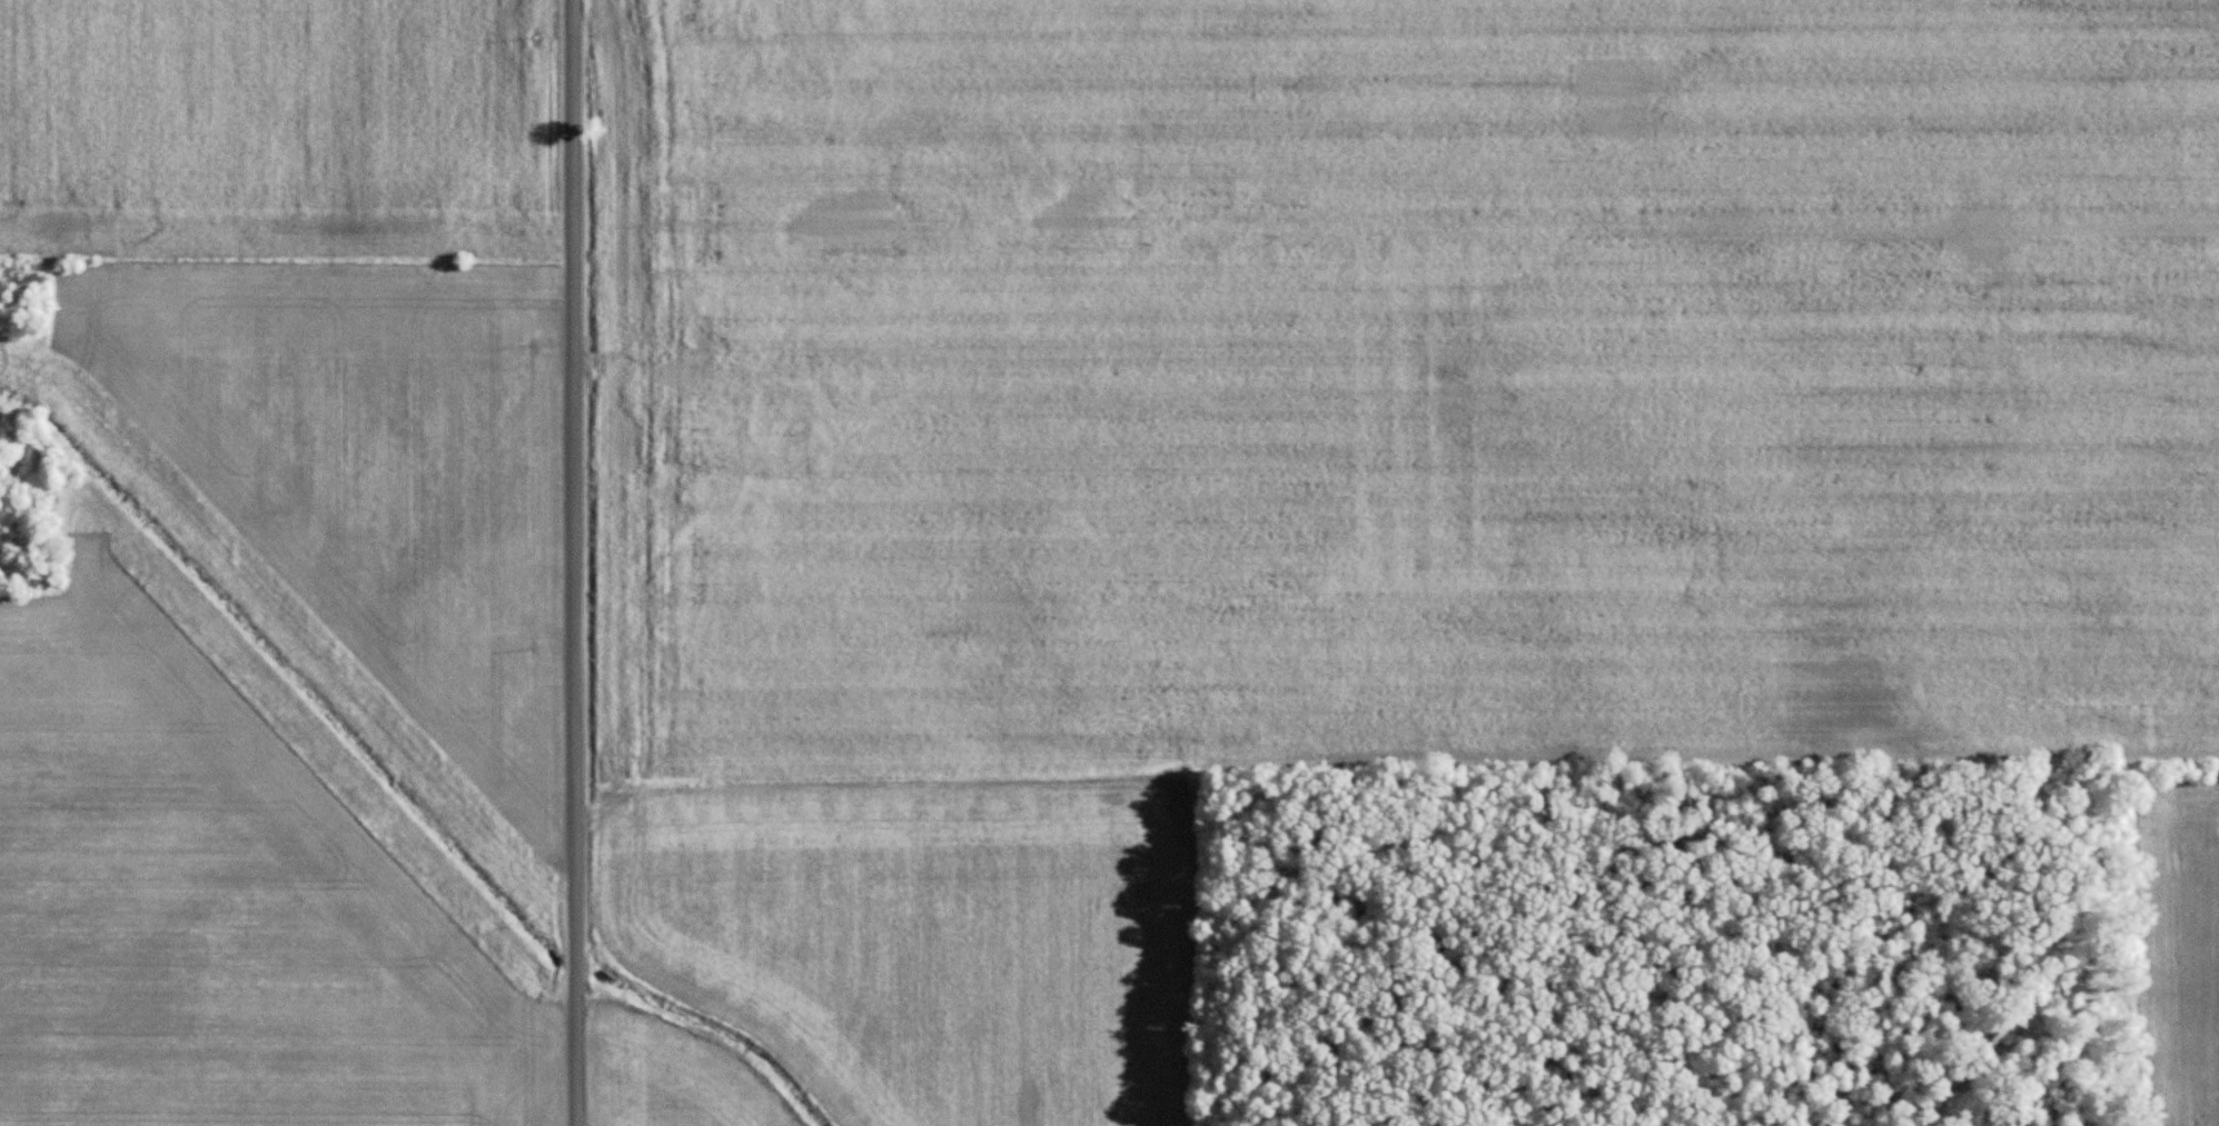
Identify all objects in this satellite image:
road: (572, 562)

